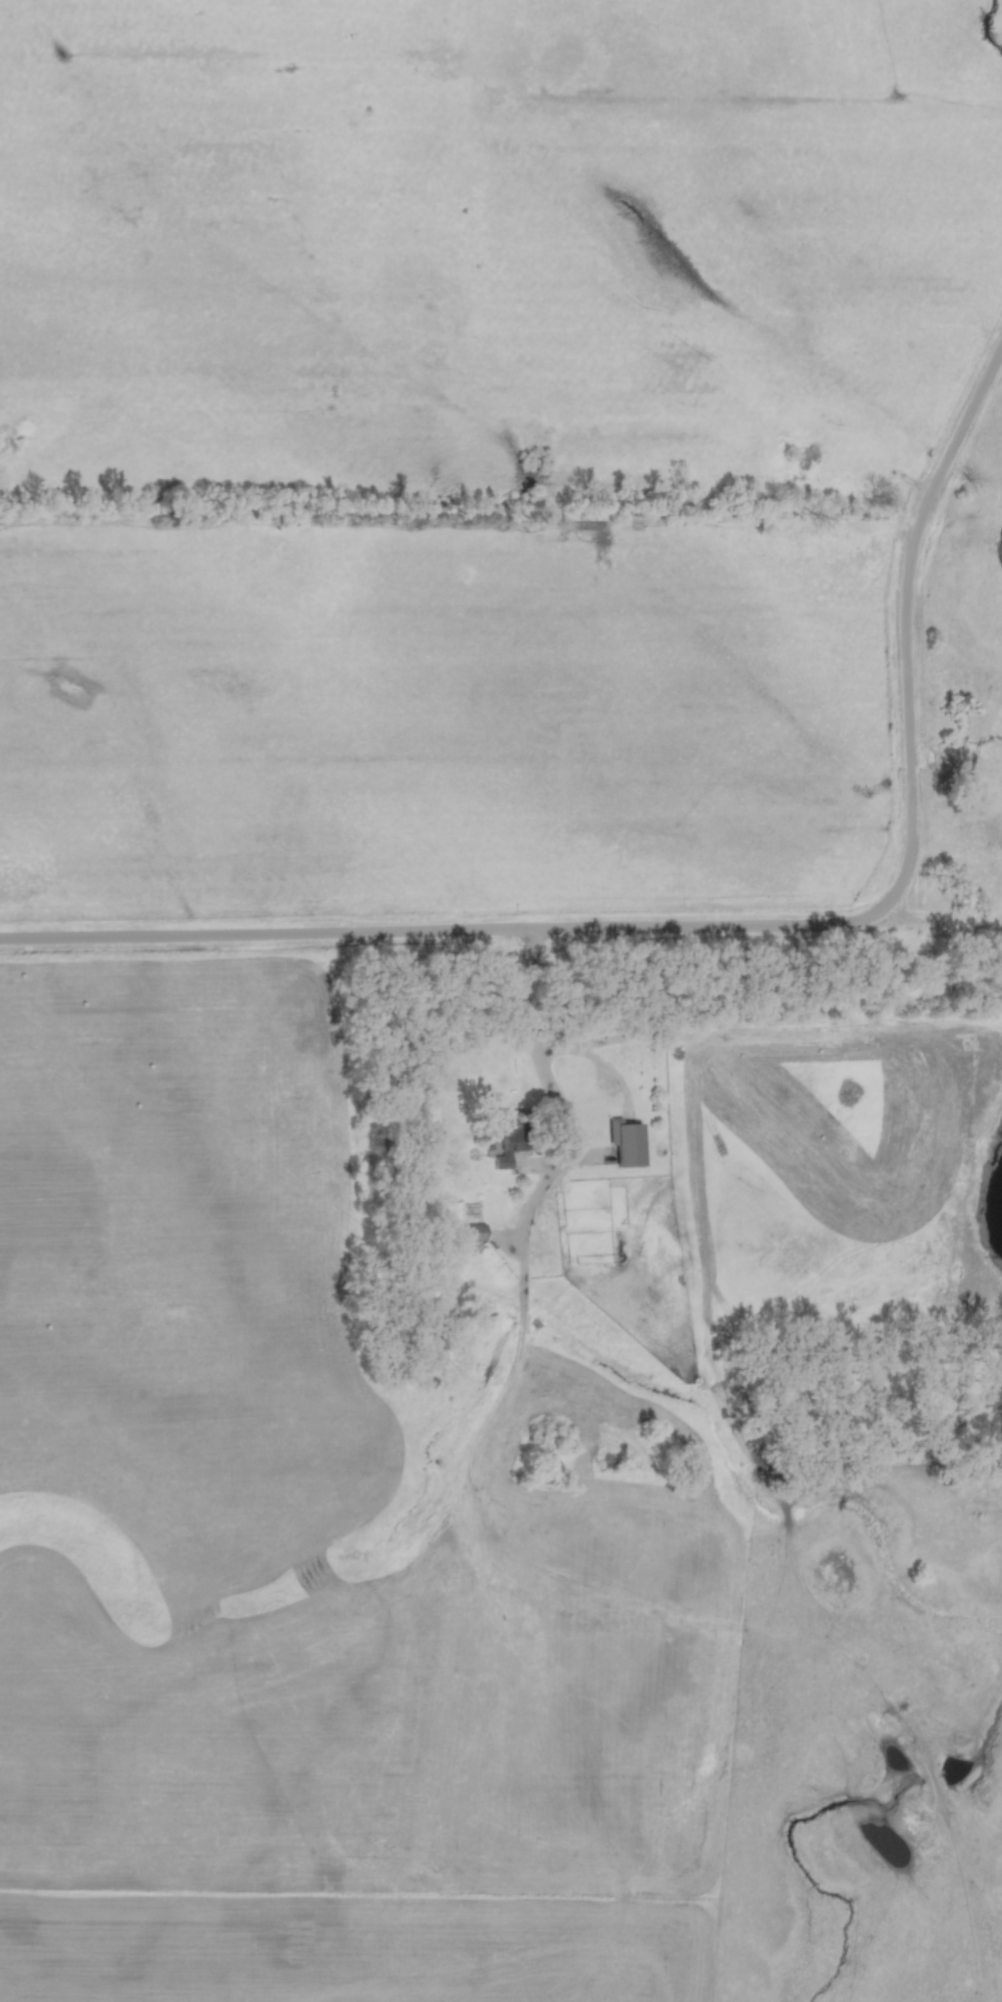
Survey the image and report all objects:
river: (988, 25)
road: (910, 622)
road: (446, 935)
road: (567, 1112)
building: (501, 1145)
building: (470, 1234)

